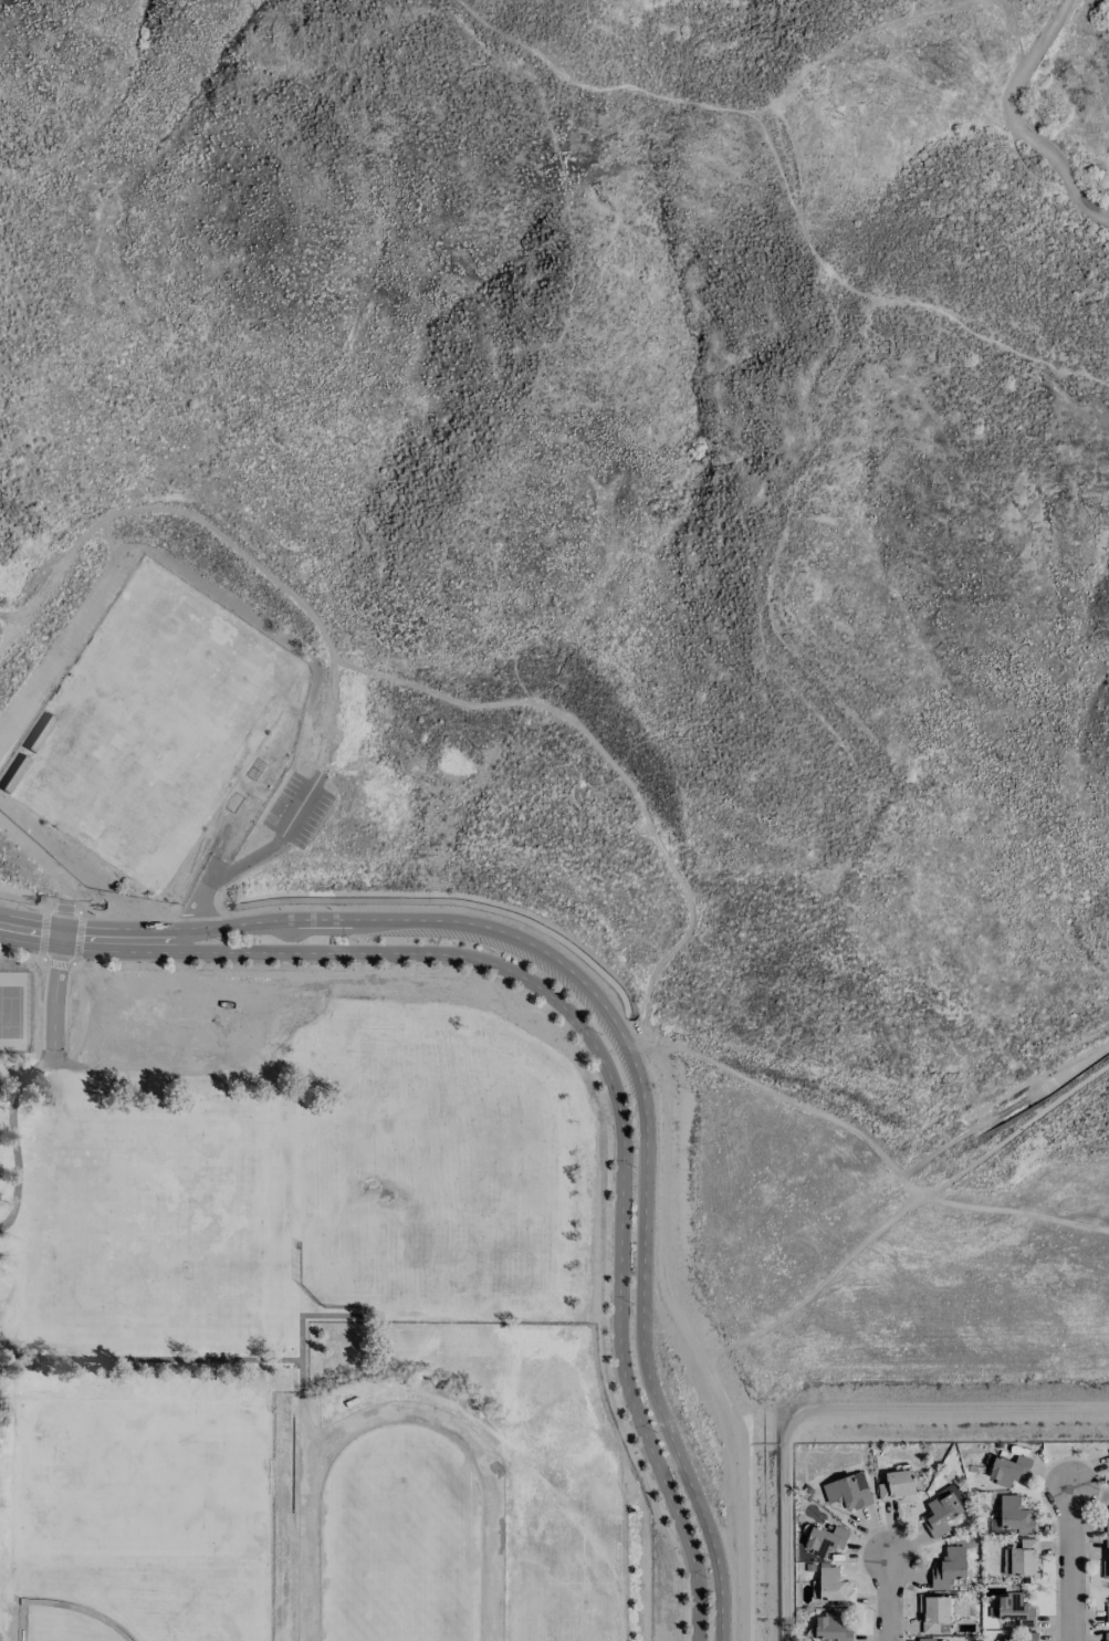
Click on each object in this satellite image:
road: (1017, 122)
road: (787, 188)
park: (151, 725)
road: (638, 801)
road: (251, 859)
road: (302, 920)
road: (287, 953)
road: (21, 957)
road: (72, 962)
road: (56, 973)
park: (14, 1012)
road: (596, 1081)
road: (1033, 1118)
road: (12, 1131)
road: (642, 1313)
road: (619, 1323)
road: (839, 1411)
building: (1108, 1452)
building: (1007, 1468)
park: (146, 1478)
building: (897, 1485)
building: (848, 1491)
building: (943, 1508)
building: (1015, 1514)
building: (1107, 1519)
track: (401, 1534)
building: (825, 1539)
building: (1022, 1557)
building: (1106, 1559)
building: (948, 1566)
road: (1071, 1566)
building: (835, 1586)
road: (890, 1602)
park: (146, 1607)
building: (1015, 1610)
building: (933, 1611)
building: (1107, 1614)
building: (831, 1627)
building: (1032, 1634)
building: (1106, 1635)
building: (927, 1639)

